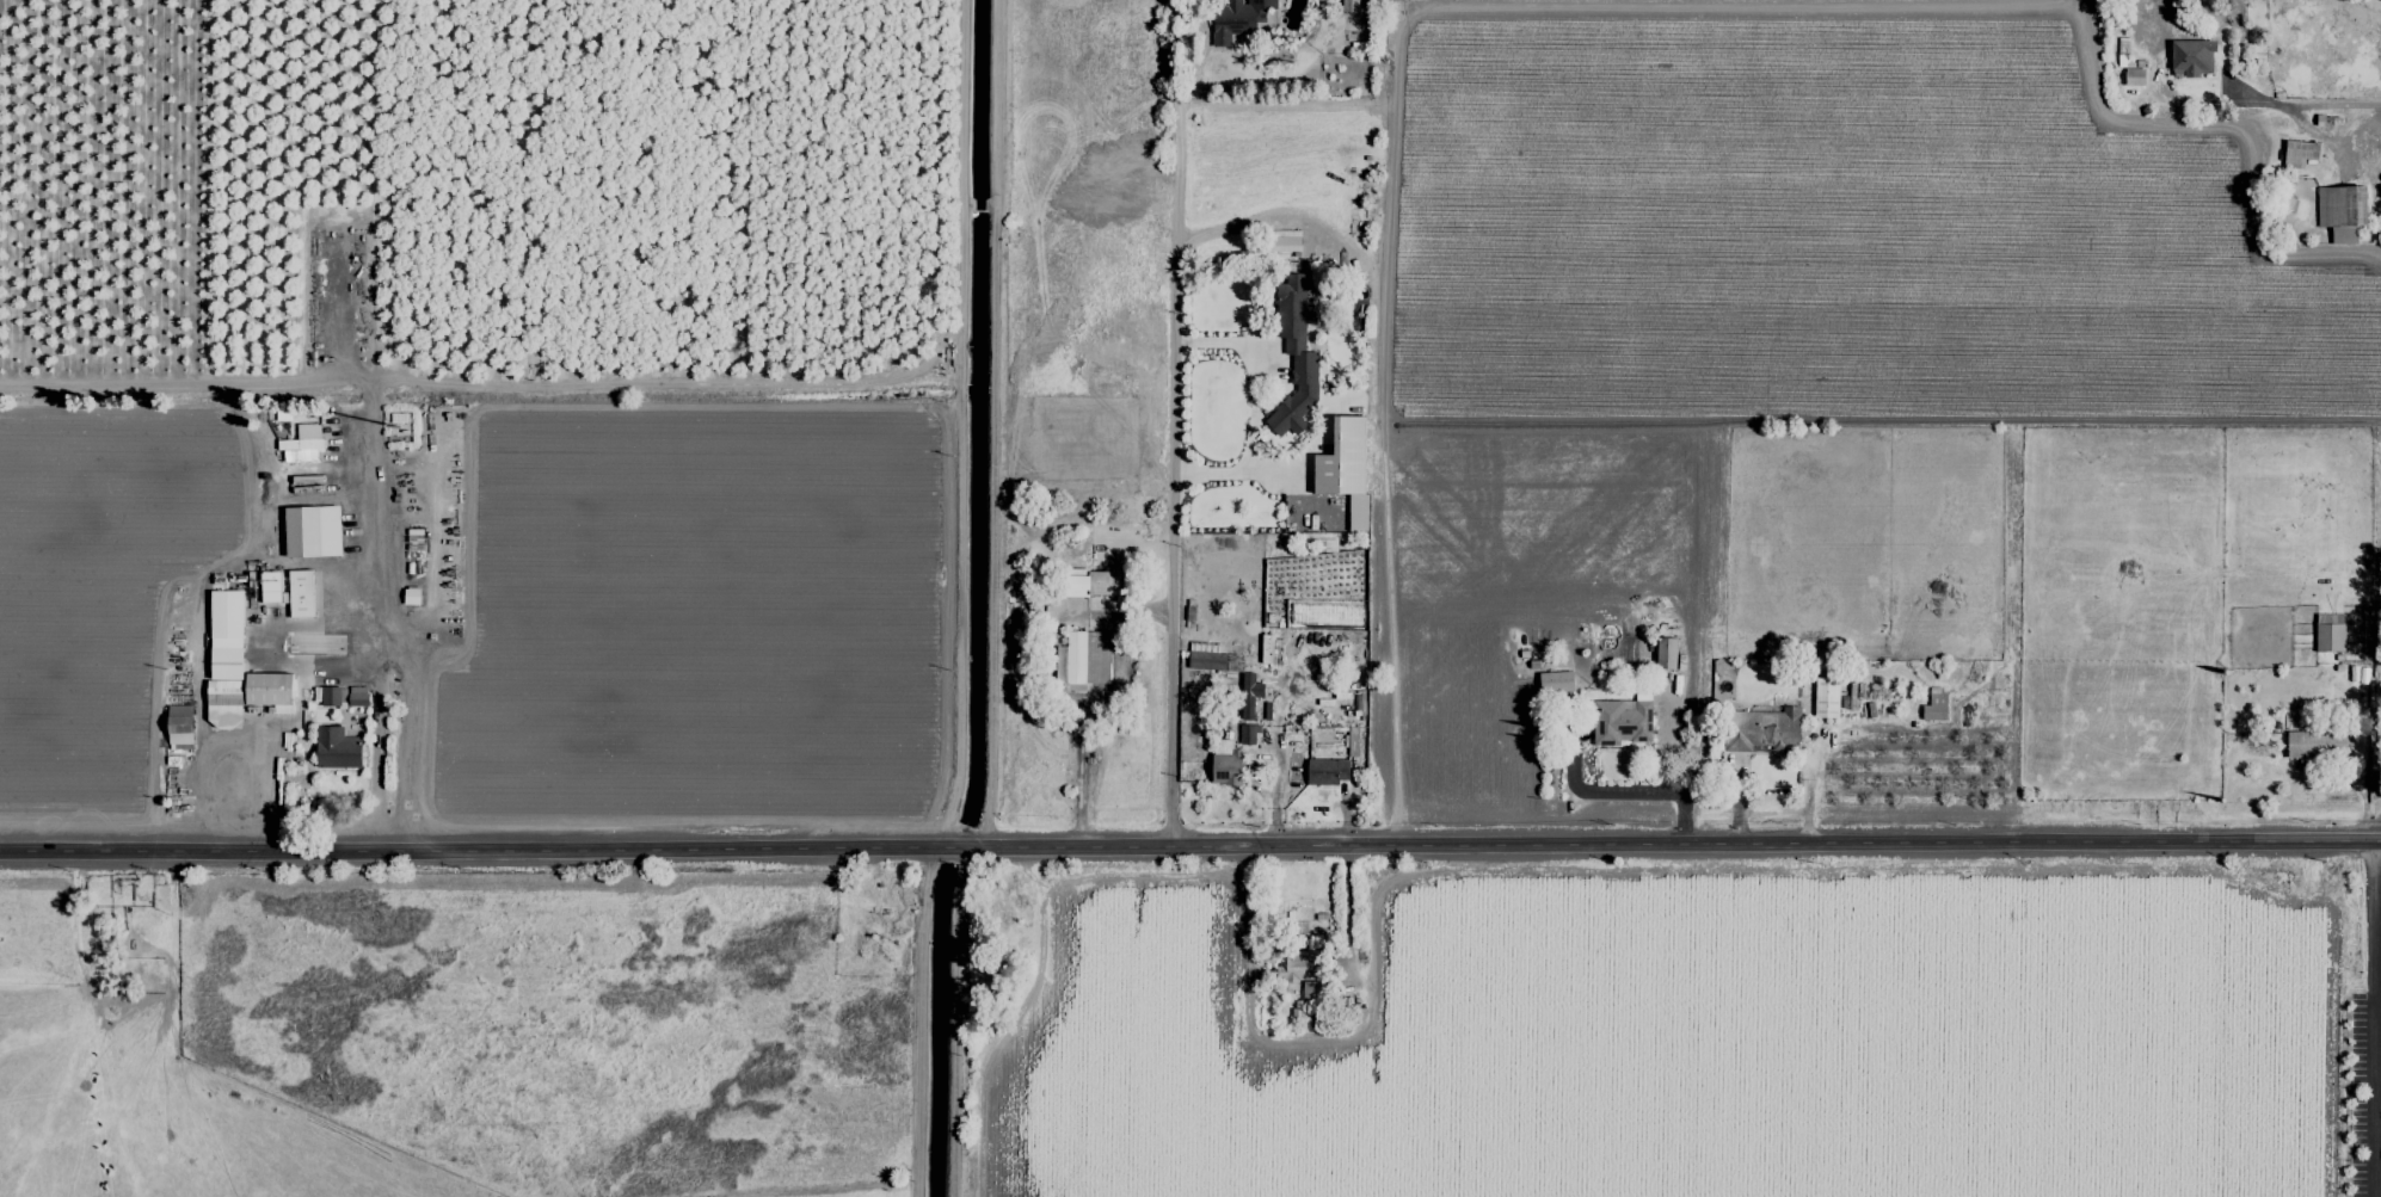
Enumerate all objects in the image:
building: (1348, 5)
building: (1237, 19)
building: (2191, 58)
building: (2134, 76)
road: (2321, 106)
building: (2297, 154)
building: (2340, 211)
building: (1294, 354)
road: (1254, 407)
road: (1173, 422)
building: (301, 444)
building: (1341, 459)
building: (312, 531)
building: (1099, 582)
building: (300, 593)
building: (411, 596)
building: (2328, 633)
building: (1266, 648)
building: (1665, 654)
building: (1082, 659)
building: (1212, 659)
road: (405, 661)
building: (236, 667)
building: (1555, 681)
building: (1249, 695)
building: (328, 696)
building: (357, 697)
building: (1826, 697)
building: (1934, 705)
building: (1620, 721)
building: (179, 727)
building: (1760, 729)
building: (1248, 734)
road: (1278, 739)
building: (1352, 741)
building: (2309, 745)
building: (336, 748)
road: (1674, 761)
building: (1224, 764)
road: (1083, 767)
road: (1254, 771)
building: (1327, 771)
road: (1598, 795)
road: (1688, 845)
road: (499, 847)
road: (2375, 854)
road: (1346, 909)
building: (1302, 971)
road: (976, 1020)
road: (2375, 1029)
crop: (1187, 1036)
road: (2379, 1036)
road: (2379, 1098)

